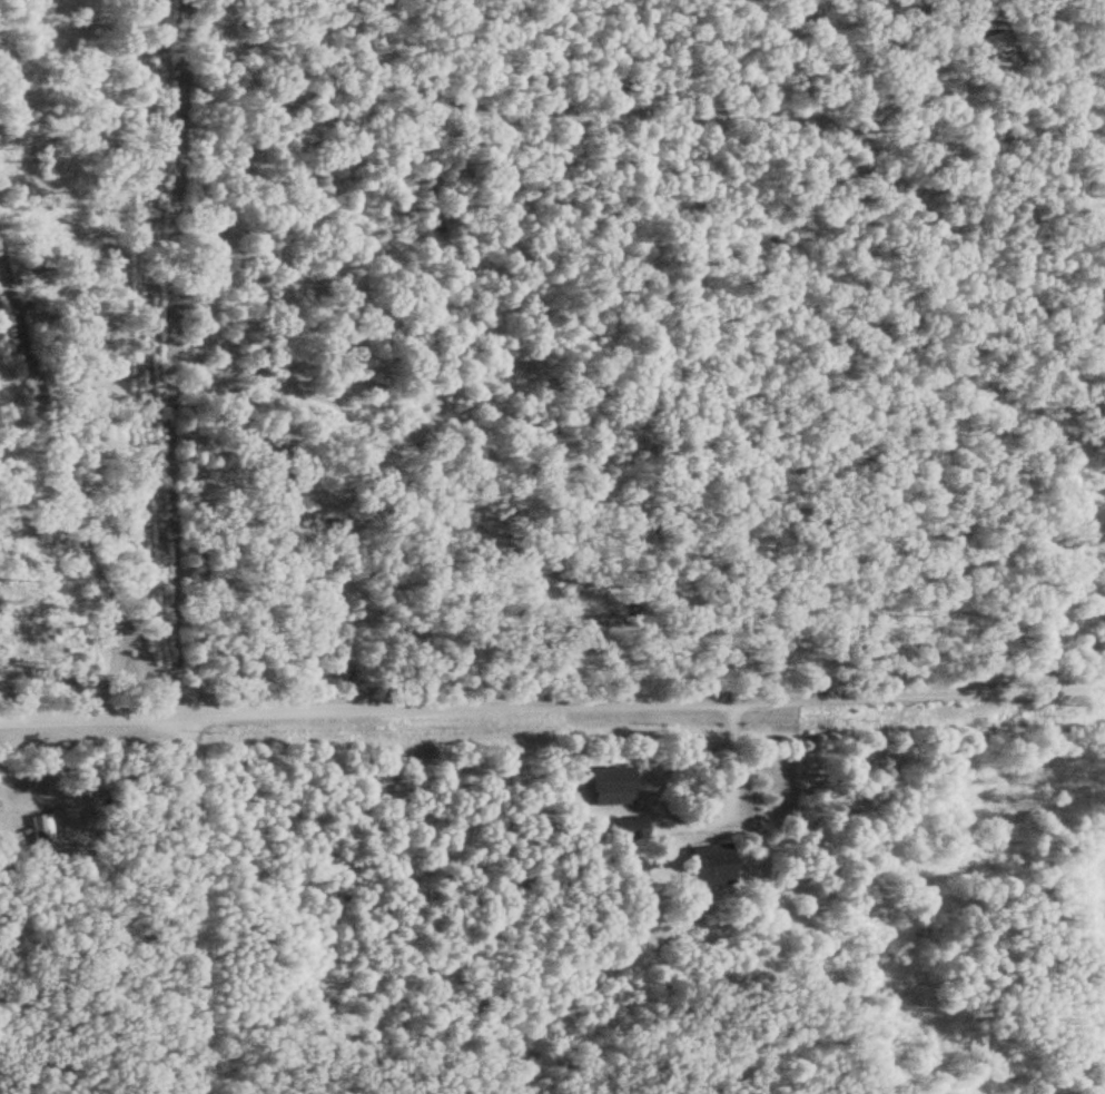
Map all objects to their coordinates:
building: (997, 43)
road: (464, 93)
road: (190, 346)
road: (552, 703)
building: (606, 785)
building: (703, 865)
road: (182, 904)

